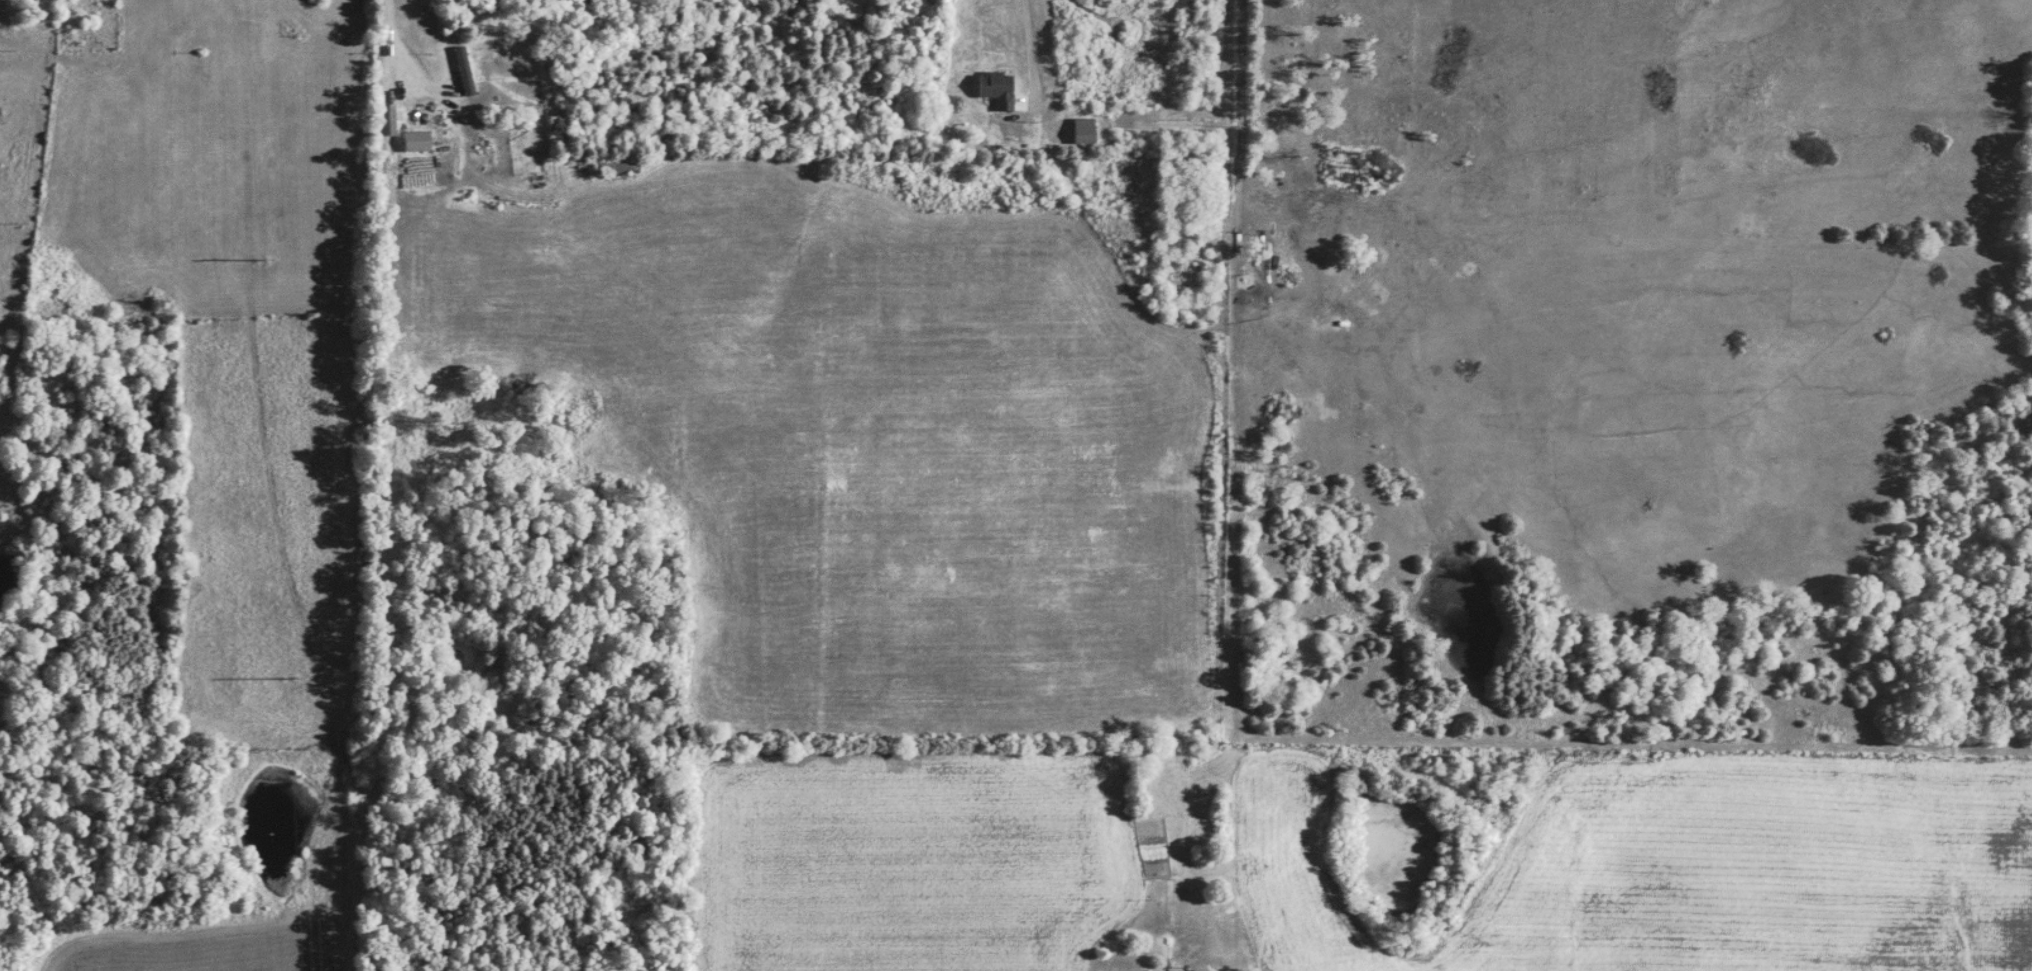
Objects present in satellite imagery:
road: (1030, 55)
road: (421, 70)
building: (463, 71)
building: (992, 90)
building: (1079, 131)
building: (413, 141)
road: (1239, 155)

